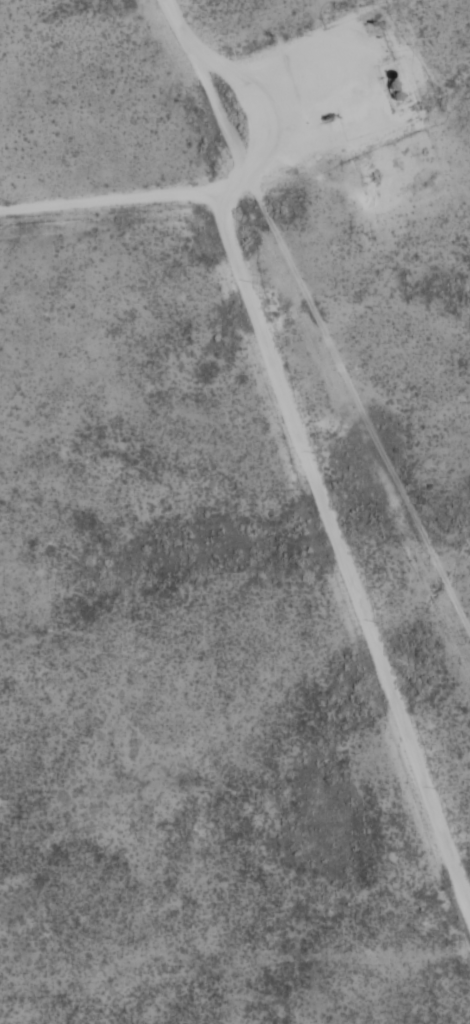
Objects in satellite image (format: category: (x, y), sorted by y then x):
road: (328, 426)

